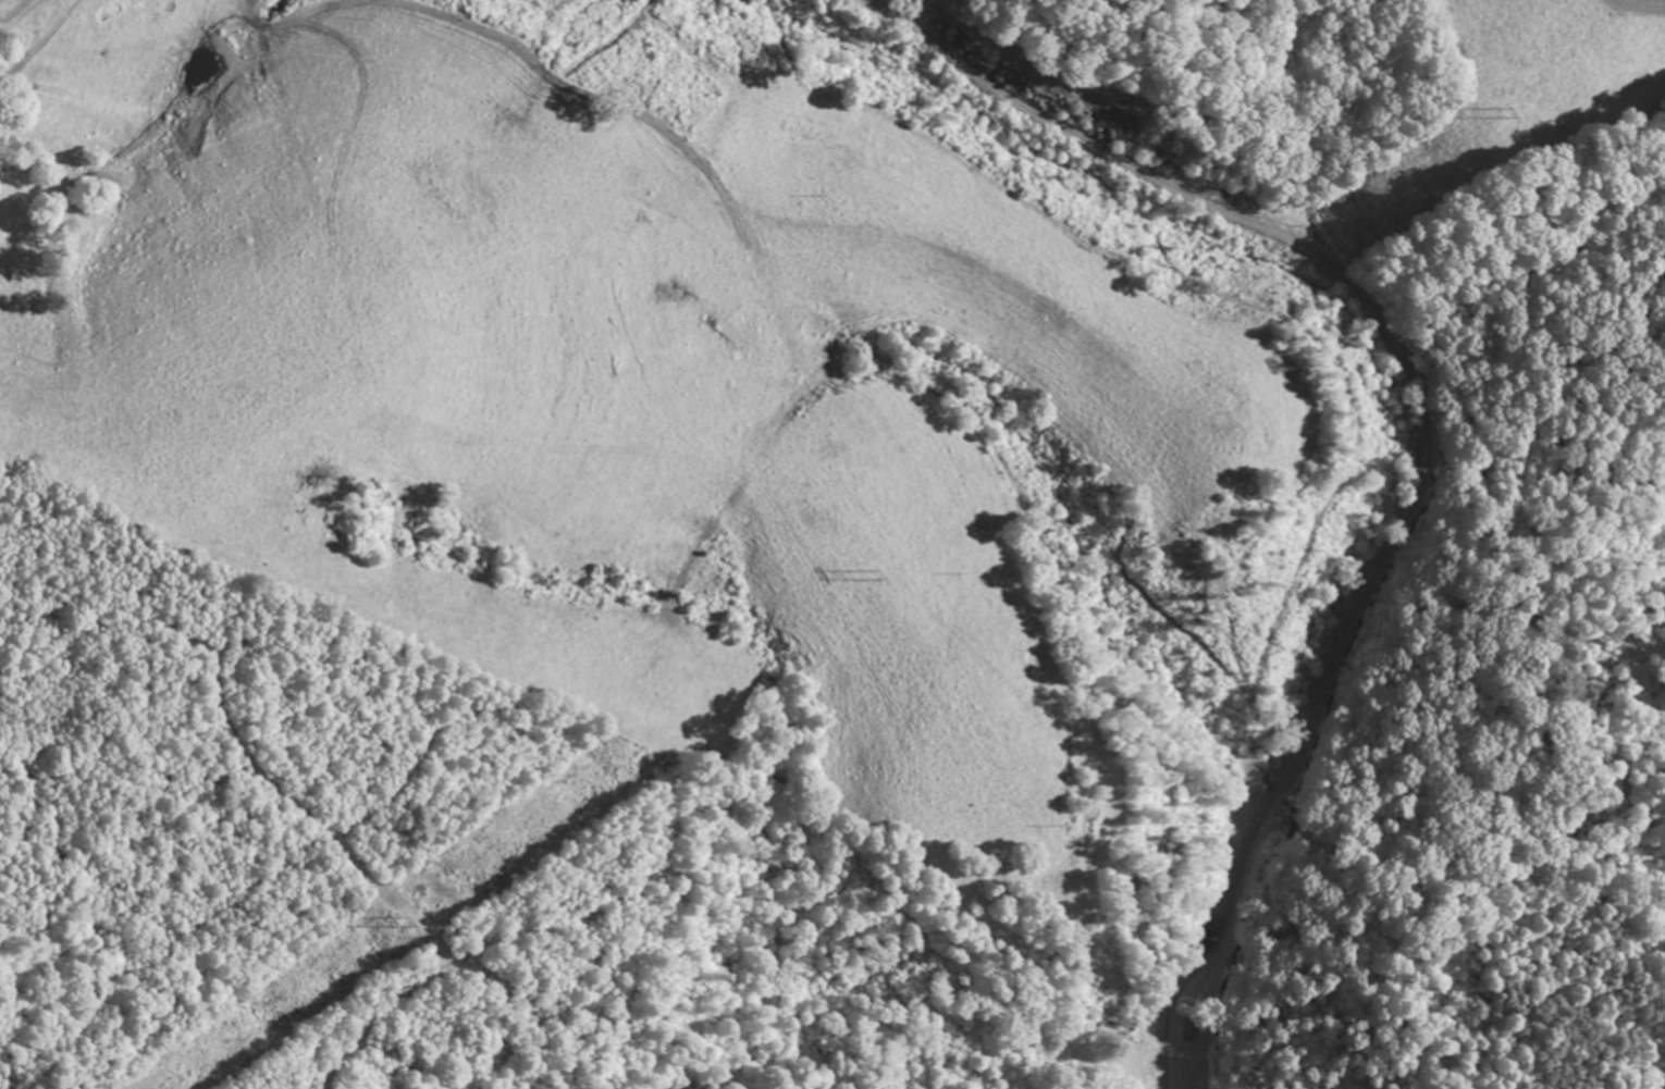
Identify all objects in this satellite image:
road: (1052, 597)

